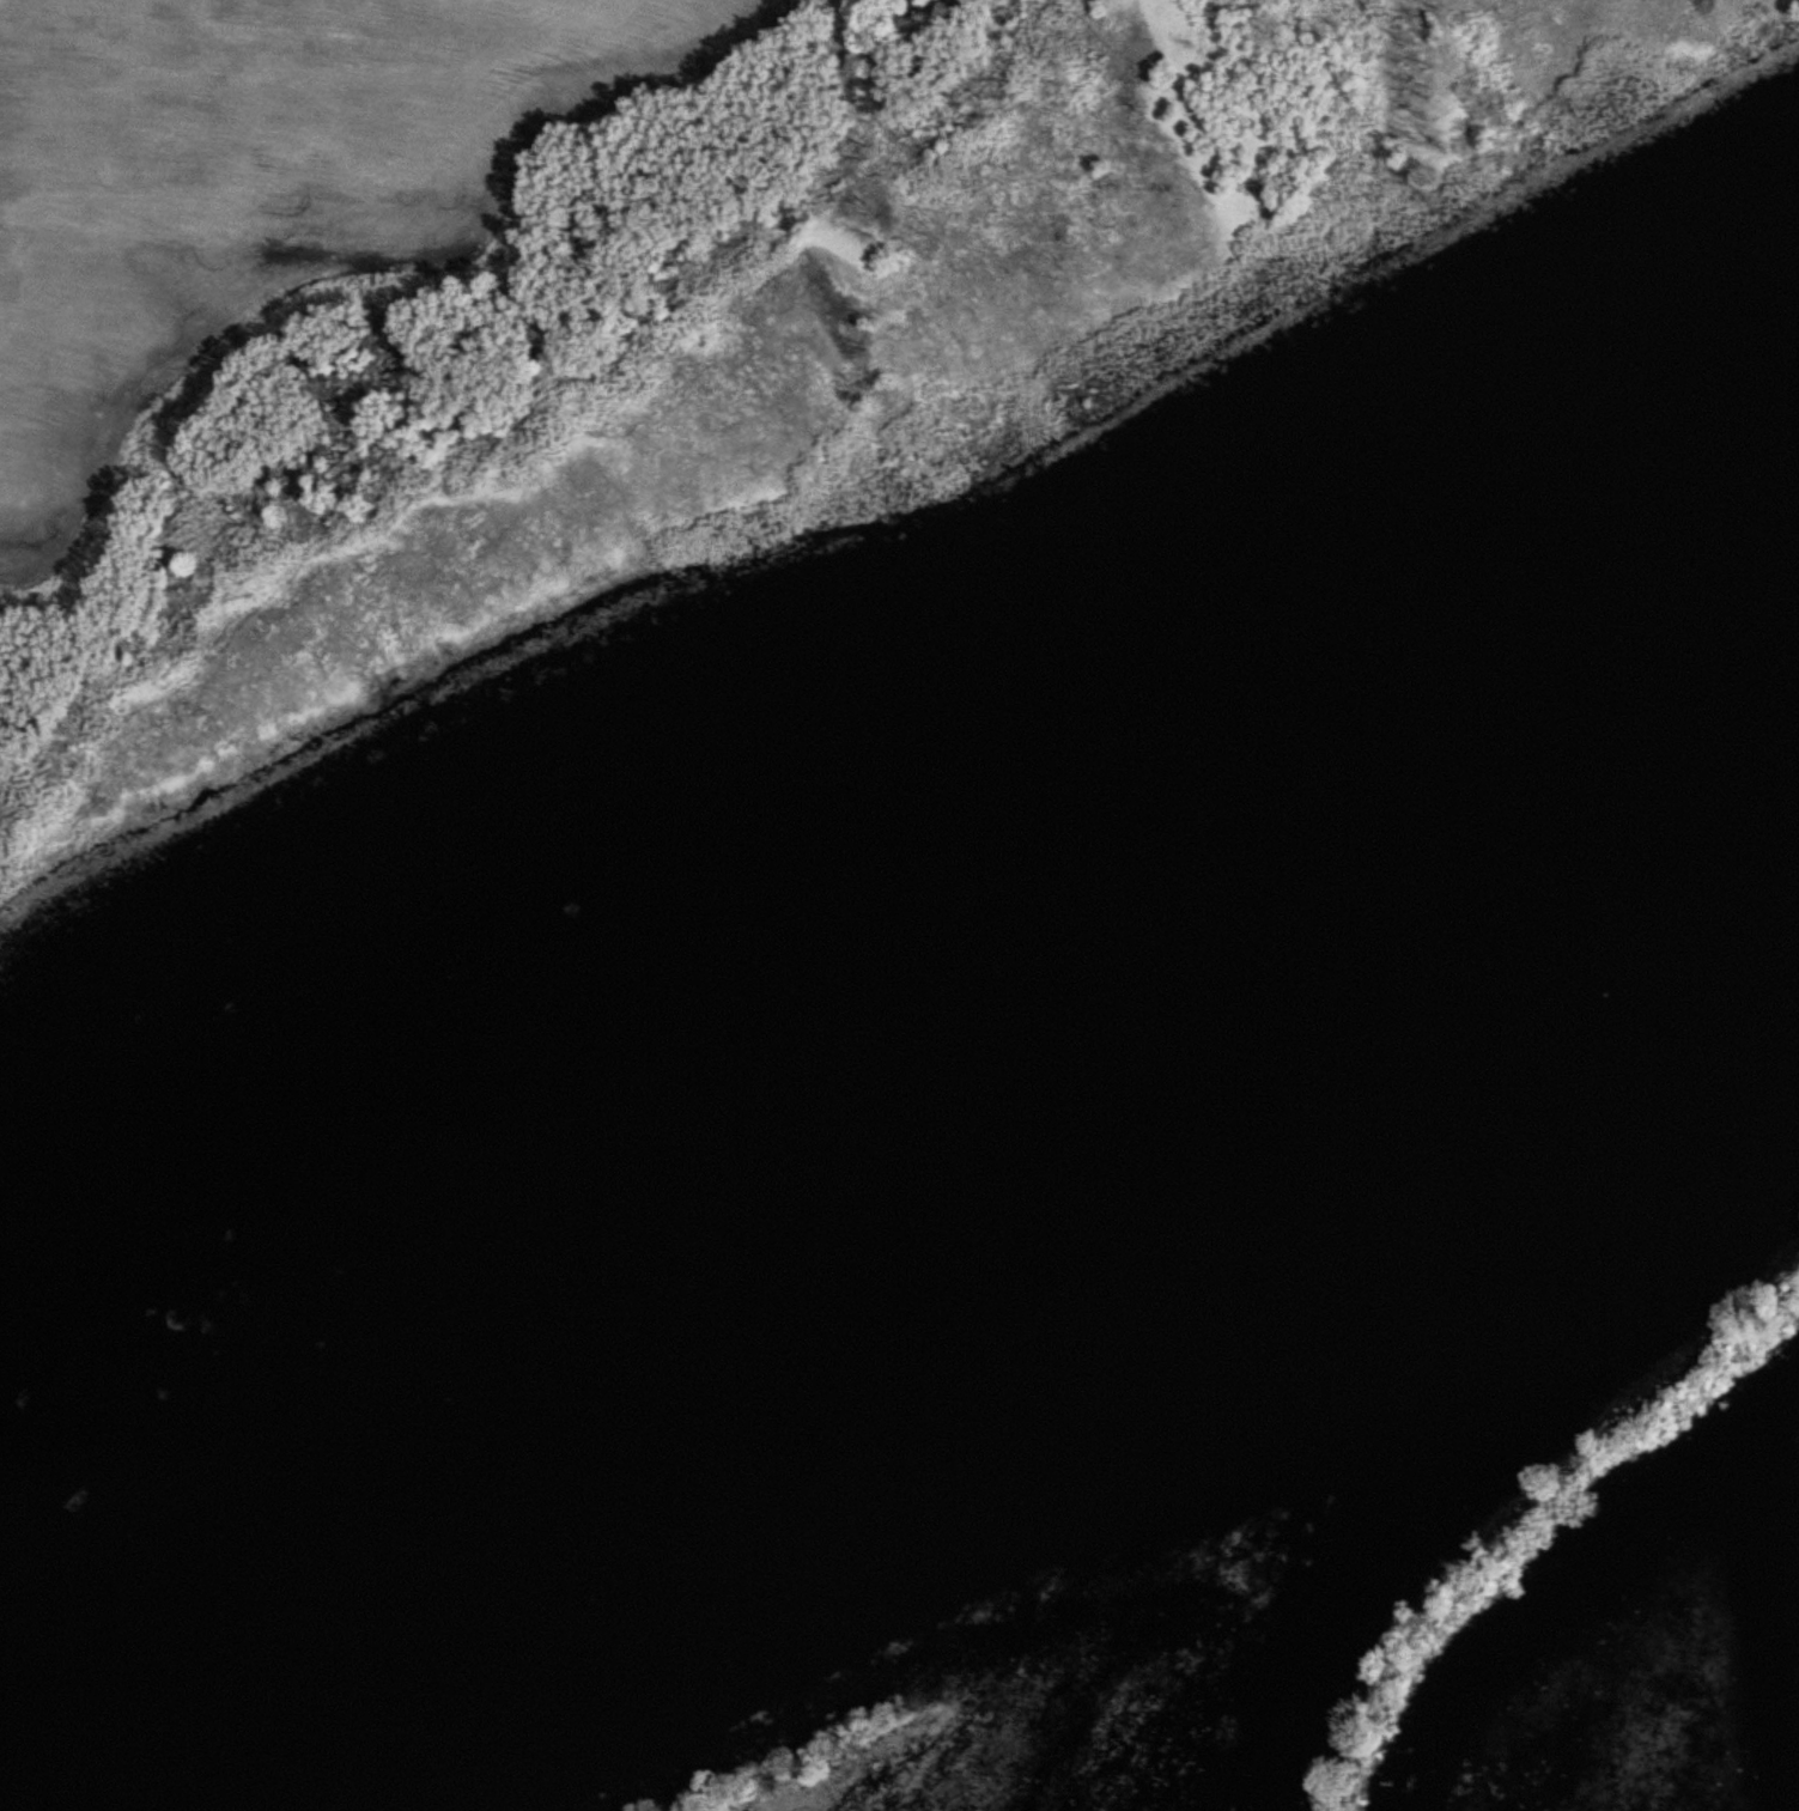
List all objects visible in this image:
river: (871, 1202)
road: (1533, 1515)

